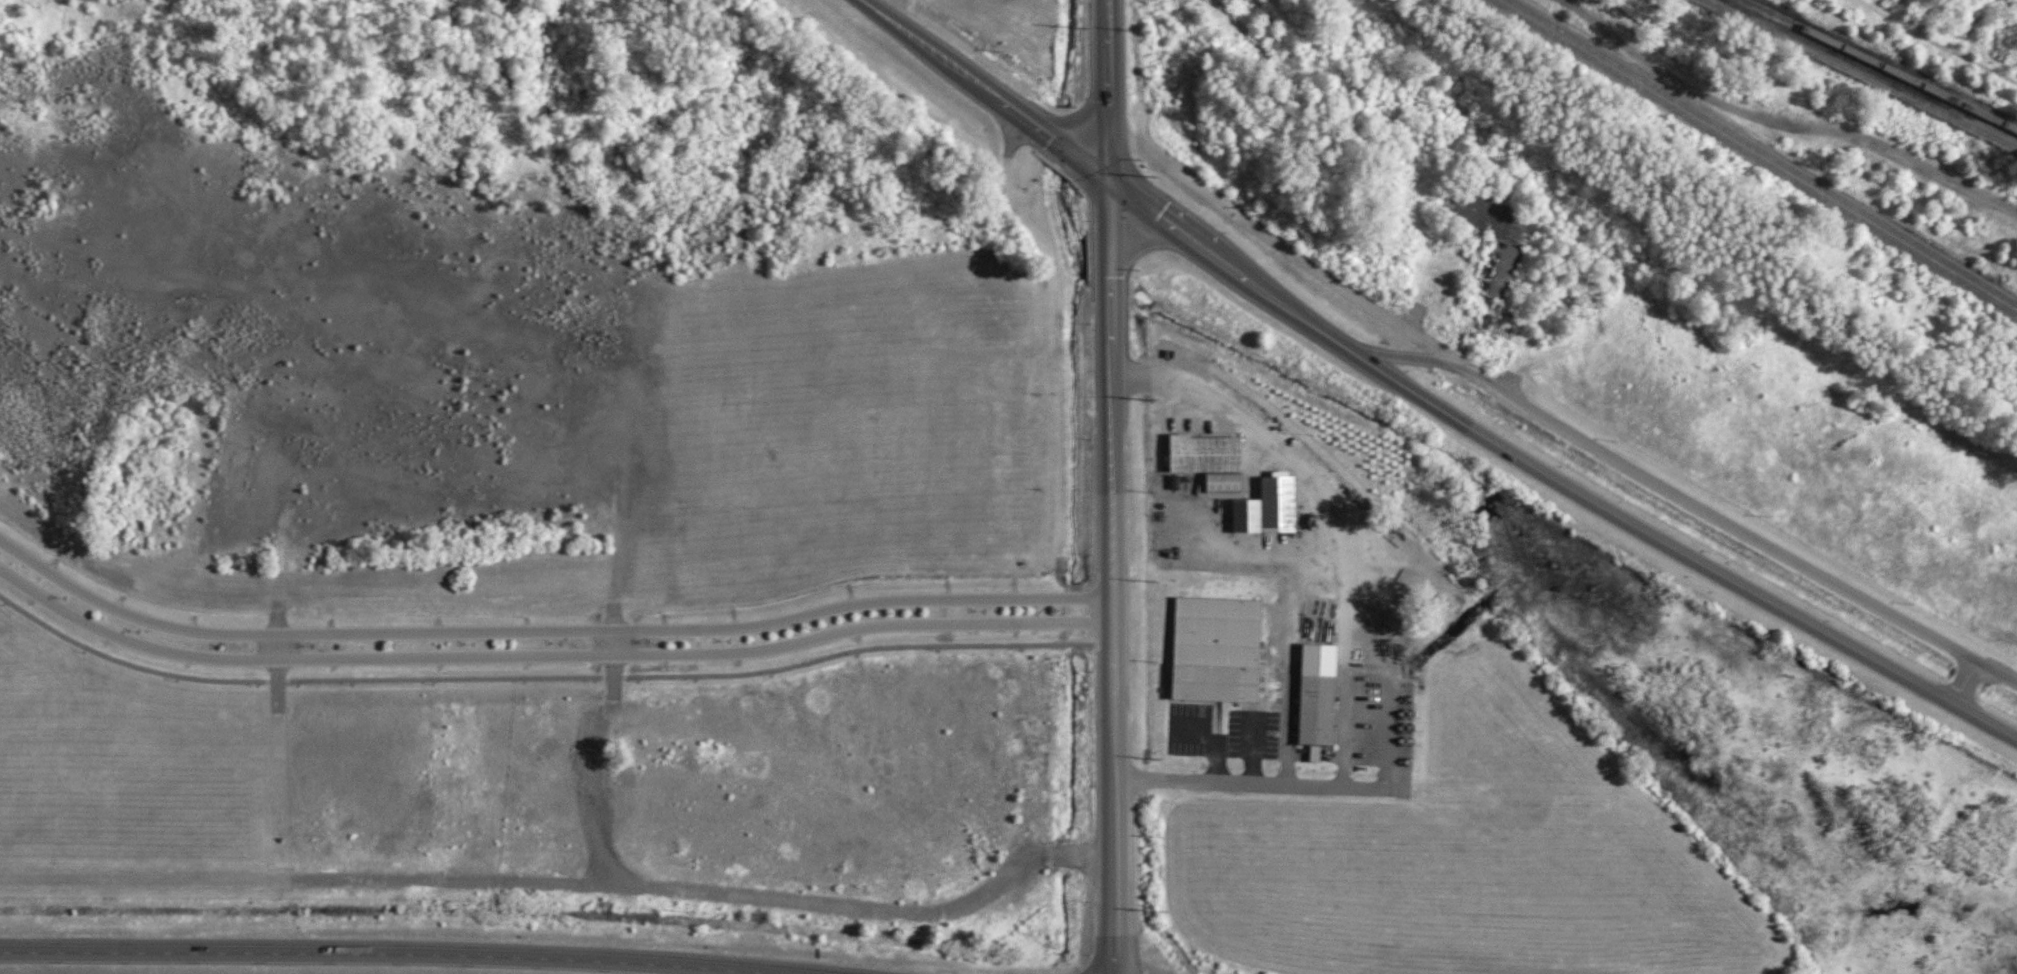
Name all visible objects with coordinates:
road: (1106, 15)
road: (931, 48)
railway: (1879, 64)
road: (1109, 103)
road: (1011, 106)
road: (1784, 116)
road: (1081, 118)
railway: (1765, 152)
railway: (1748, 173)
road: (1120, 182)
road: (1111, 259)
road: (1234, 268)
building: (1502, 270)
road: (1302, 315)
building: (1210, 459)
building: (1268, 508)
road: (1679, 550)
road: (545, 631)
road: (613, 643)
road: (278, 647)
road: (1385, 647)
building: (1217, 650)
road: (546, 655)
road: (1110, 658)
road: (547, 678)
road: (1964, 682)
building: (1318, 694)
building: (1315, 753)
road: (398, 949)

